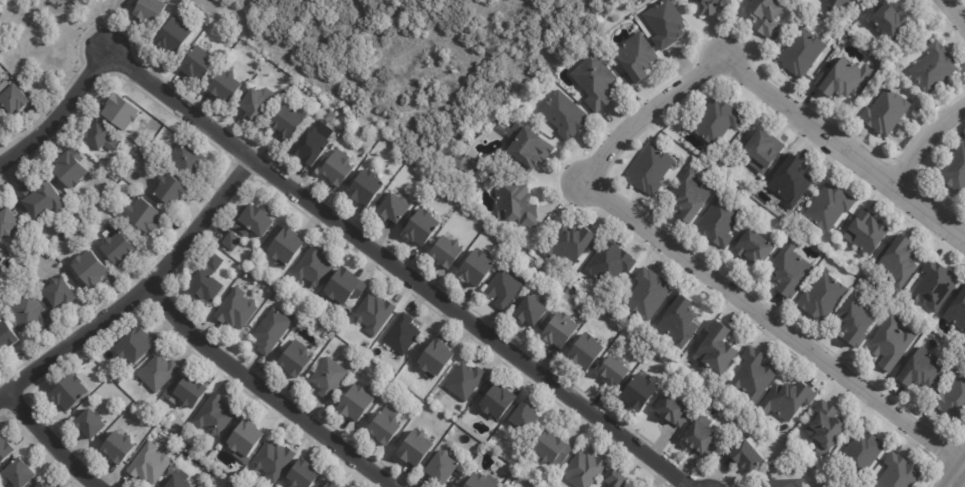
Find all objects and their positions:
building: (824, 0)
building: (840, 4)
building: (713, 6)
building: (150, 10)
building: (766, 15)
road: (951, 17)
building: (889, 20)
building: (664, 23)
building: (175, 34)
building: (801, 53)
building: (635, 57)
building: (199, 60)
building: (932, 67)
building: (843, 78)
building: (594, 79)
building: (226, 83)
building: (17, 98)
building: (257, 104)
building: (126, 109)
road: (644, 109)
road: (59, 111)
building: (886, 113)
building: (0, 114)
building: (562, 115)
building: (0, 120)
building: (716, 121)
building: (287, 122)
building: (103, 135)
road: (928, 138)
road: (845, 141)
building: (314, 143)
building: (527, 149)
building: (763, 150)
building: (140, 152)
building: (191, 157)
building: (74, 166)
building: (339, 166)
building: (649, 169)
building: (955, 169)
building: (789, 181)
building: (366, 186)
building: (175, 188)
building: (690, 197)
building: (44, 198)
building: (518, 205)
building: (393, 207)
building: (828, 207)
building: (147, 213)
building: (720, 219)
building: (255, 221)
building: (10, 222)
building: (421, 226)
building: (865, 232)
building: (231, 241)
building: (573, 245)
building: (287, 246)
building: (121, 247)
building: (617, 247)
building: (754, 247)
building: (447, 251)
building: (898, 260)
building: (214, 261)
building: (608, 264)
building: (311, 265)
building: (94, 266)
building: (476, 267)
road: (399, 269)
building: (788, 270)
building: (206, 286)
building: (343, 286)
building: (933, 287)
building: (501, 288)
road: (137, 290)
building: (62, 291)
building: (646, 294)
building: (822, 297)
building: (236, 308)
building: (30, 311)
building: (957, 311)
building: (529, 312)
building: (374, 313)
road: (773, 320)
building: (857, 320)
building: (679, 321)
building: (271, 330)
building: (560, 330)
building: (400, 332)
building: (339, 333)
building: (326, 335)
building: (7, 336)
building: (890, 343)
building: (133, 346)
building: (715, 349)
building: (584, 351)
building: (293, 357)
building: (435, 359)
building: (921, 370)
building: (613, 371)
building: (159, 372)
building: (327, 375)
building: (751, 375)
building: (466, 381)
road: (264, 390)
building: (191, 391)
building: (69, 392)
building: (638, 392)
building: (952, 400)
building: (497, 401)
building: (785, 401)
building: (356, 402)
building: (670, 410)
building: (524, 415)
building: (214, 416)
building: (90, 423)
building: (385, 425)
building: (825, 425)
building: (698, 437)
road: (50, 440)
building: (245, 440)
building: (117, 447)
building: (415, 447)
building: (6, 449)
building: (553, 450)
building: (861, 452)
building: (746, 456)
building: (272, 459)
building: (148, 464)
building: (440, 468)
building: (585, 470)
building: (23, 473)
building: (897, 473)
building: (302, 475)
road: (958, 478)
building: (617, 480)
building: (483, 481)
building: (176, 483)
building: (782, 483)
building: (46, 484)
building: (331, 485)
building: (211, 486)

